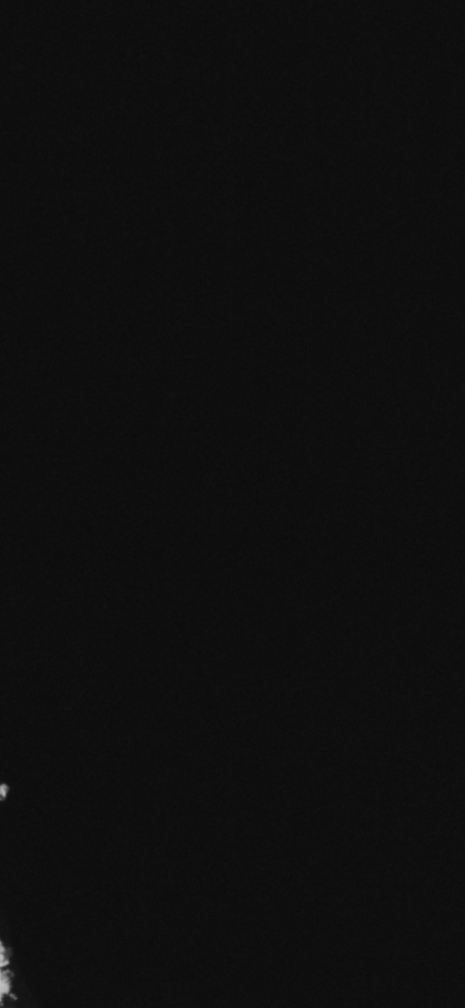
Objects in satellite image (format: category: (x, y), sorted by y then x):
river: (445, 20)

